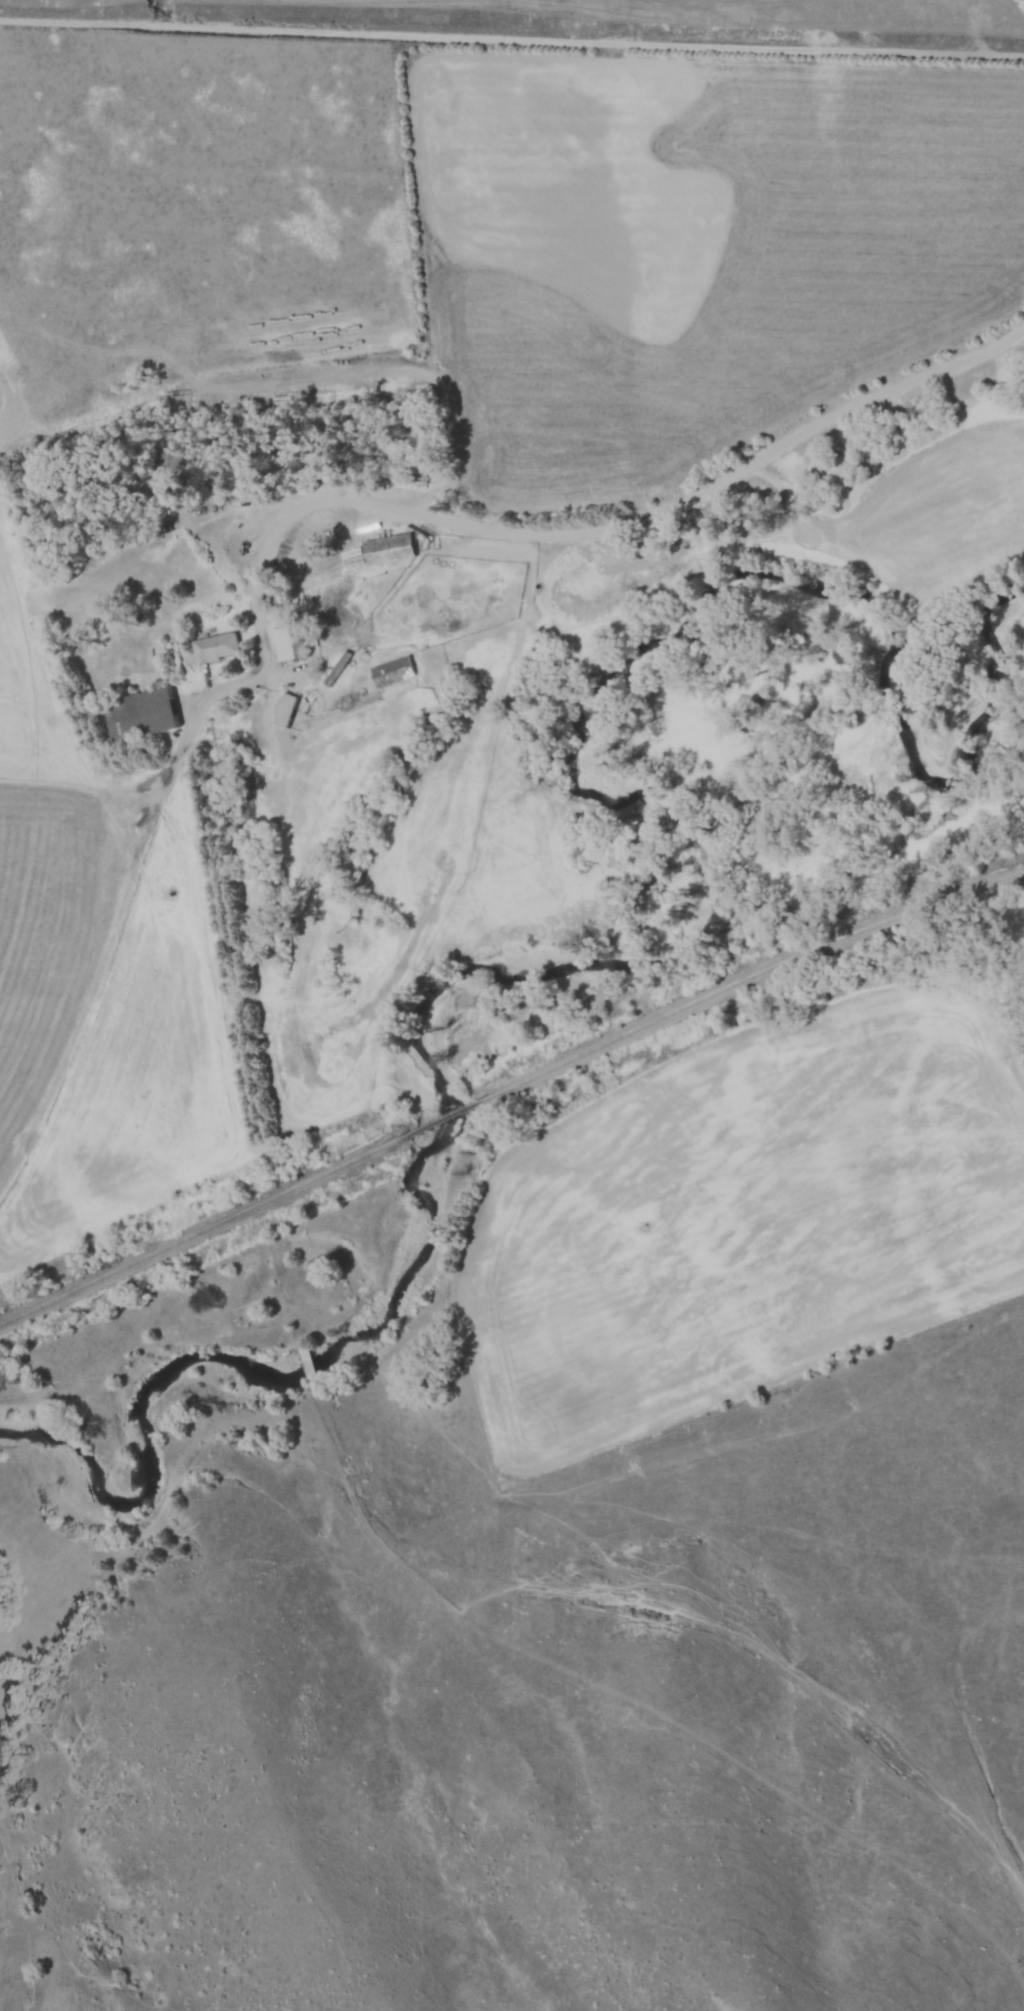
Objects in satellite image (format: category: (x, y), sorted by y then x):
road: (608, 527)
building: (386, 553)
building: (290, 644)
building: (216, 648)
building: (395, 672)
building: (287, 711)
building: (142, 716)
railway: (740, 980)
railway: (439, 1120)
railway: (206, 1229)

